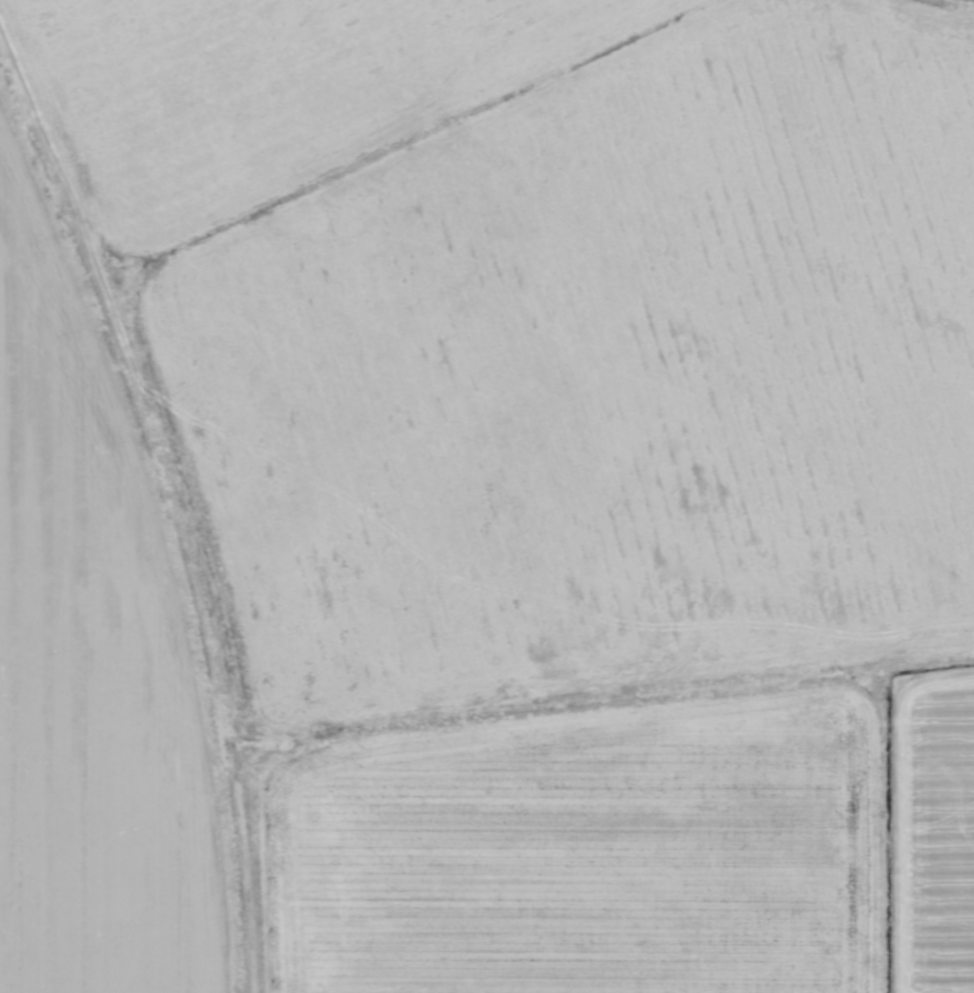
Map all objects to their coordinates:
crop: (550, 330)

